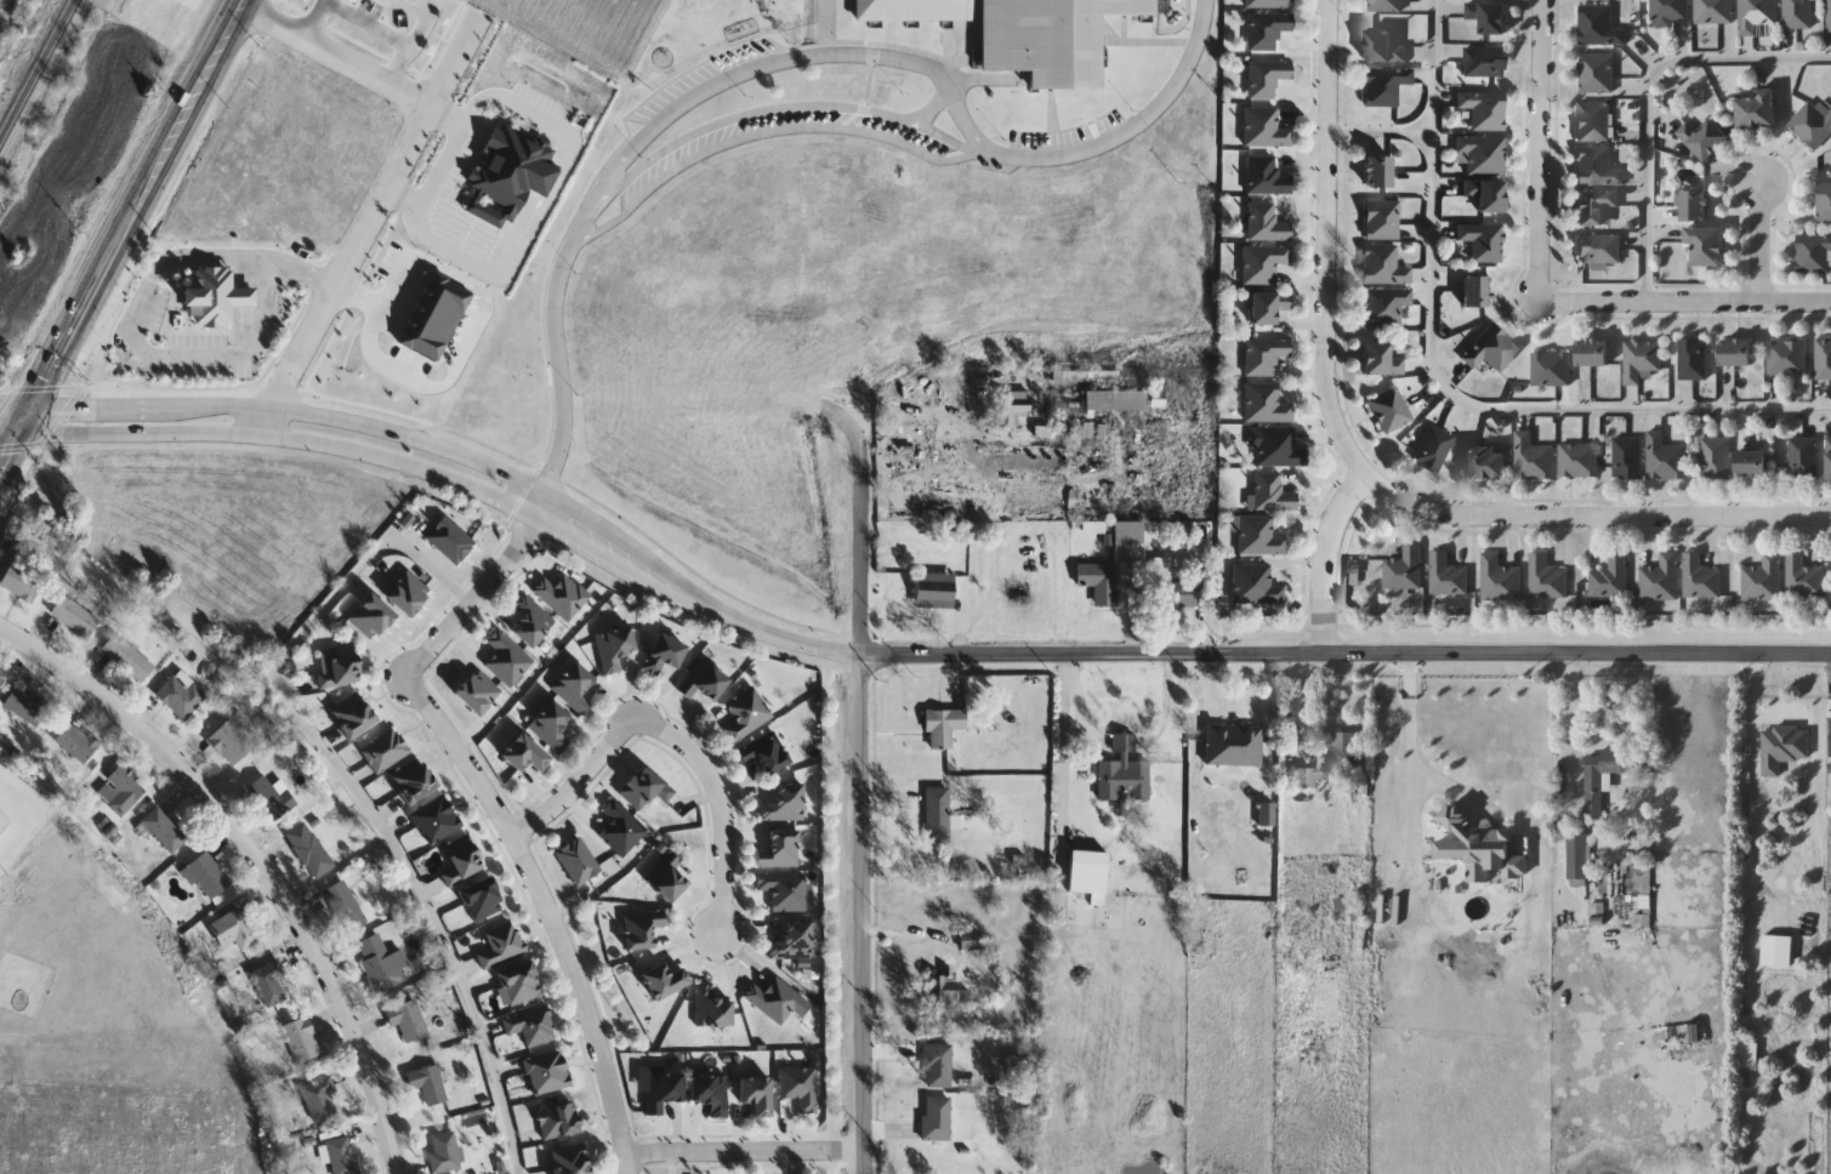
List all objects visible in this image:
building: (1270, 4)
building: (1384, 6)
building: (910, 10)
building: (1670, 11)
building: (1715, 12)
building: (1798, 15)
building: (1489, 17)
building: (1829, 17)
building: (1759, 18)
road: (314, 21)
building: (1604, 24)
road: (826, 25)
road: (421, 27)
building: (1267, 30)
road: (389, 33)
building: (1046, 38)
building: (1383, 49)
road: (792, 56)
road: (337, 58)
building: (1485, 62)
building: (1597, 74)
railway: (40, 75)
building: (1268, 78)
building: (1386, 86)
road: (1650, 95)
road: (936, 103)
road: (789, 106)
building: (1485, 110)
building: (1757, 112)
building: (1594, 122)
road: (1128, 126)
building: (1813, 126)
road: (559, 129)
building: (1266, 129)
road: (1383, 130)
road: (766, 131)
building: (1705, 138)
road: (1540, 149)
building: (1484, 154)
road: (440, 160)
building: (1597, 167)
building: (1380, 172)
building: (506, 173)
building: (1267, 177)
railway: (99, 189)
building: (1488, 195)
building: (1825, 204)
road: (140, 206)
building: (1596, 206)
building: (1695, 207)
road: (371, 212)
building: (1383, 220)
road: (448, 222)
building: (1267, 223)
road: (1758, 240)
road: (1330, 241)
building: (1483, 241)
building: (1706, 246)
building: (1600, 250)
building: (1813, 253)
building: (1264, 262)
building: (1384, 266)
road: (311, 275)
road: (393, 277)
building: (1477, 291)
building: (211, 293)
road: (1684, 300)
building: (1384, 306)
building: (1268, 307)
road: (483, 312)
building: (432, 314)
road: (553, 335)
road: (133, 340)
road: (368, 341)
building: (1492, 349)
building: (1592, 354)
building: (1736, 354)
building: (1264, 355)
building: (1787, 358)
building: (1824, 359)
building: (1382, 360)
building: (1642, 360)
building: (1694, 360)
building: (1551, 370)
road: (1448, 386)
building: (1266, 404)
building: (1011, 408)
building: (1392, 410)
road: (16, 415)
traffic signals: (32, 416)
road: (266, 421)
road: (954, 422)
road: (377, 427)
road: (142, 431)
road: (16, 446)
building: (1278, 448)
building: (1433, 448)
building: (1533, 458)
building: (1628, 458)
building: (1666, 458)
building: (1716, 458)
building: (1803, 458)
building: (1829, 460)
building: (1579, 461)
road: (403, 463)
building: (1486, 463)
building: (1751, 465)
building: (1272, 492)
road: (540, 506)
road: (1591, 514)
building: (1258, 535)
road: (609, 555)
road: (1326, 562)
building: (1113, 563)
building: (1404, 570)
building: (1446, 575)
building: (1804, 577)
building: (1546, 579)
building: (1610, 579)
building: (1661, 579)
building: (1701, 579)
building: (1500, 580)
building: (1763, 580)
building: (22, 582)
building: (1256, 585)
building: (1172, 586)
building: (936, 589)
road: (472, 598)
building: (78, 619)
building: (531, 620)
road: (769, 632)
building: (615, 646)
road: (1346, 652)
building: (665, 654)
building: (131, 659)
building: (341, 667)
building: (705, 679)
building: (575, 688)
building: (182, 695)
road: (1164, 706)
road: (1079, 707)
building: (747, 713)
road: (1750, 713)
building: (356, 717)
road: (1570, 719)
road: (1408, 724)
building: (551, 725)
building: (944, 728)
building: (234, 740)
road: (673, 740)
building: (1830, 741)
building: (78, 742)
road: (1124, 743)
building: (1234, 745)
building: (386, 750)
building: (525, 753)
building: (766, 756)
building: (1330, 760)
building: (1124, 773)
building: (415, 781)
road: (357, 787)
building: (646, 788)
building: (127, 791)
building: (269, 798)
building: (1596, 798)
building: (784, 803)
building: (1266, 814)
building: (938, 816)
building: (17, 819)
building: (437, 820)
building: (622, 827)
building: (165, 830)
building: (311, 849)
building: (780, 850)
building: (1577, 857)
road: (252, 859)
building: (461, 860)
building: (579, 861)
building: (1088, 872)
building: (207, 876)
building: (669, 877)
building: (784, 890)
building: (483, 899)
building: (346, 906)
road: (545, 913)
road: (863, 914)
building: (238, 928)
building: (642, 928)
building: (971, 940)
building: (794, 941)
building: (502, 944)
building: (383, 963)
building: (665, 980)
building: (271, 981)
building: (521, 984)
building: (774, 998)
building: (712, 1008)
building: (409, 1020)
building: (531, 1026)
building: (1693, 1035)
building: (303, 1039)
building: (939, 1065)
building: (548, 1072)
building: (430, 1083)
building: (801, 1087)
building: (663, 1090)
building: (711, 1092)
building: (757, 1093)
building: (322, 1099)
building: (937, 1118)
building: (559, 1119)
building: (445, 1152)
road: (745, 1152)
building: (343, 1156)
building: (572, 1159)

